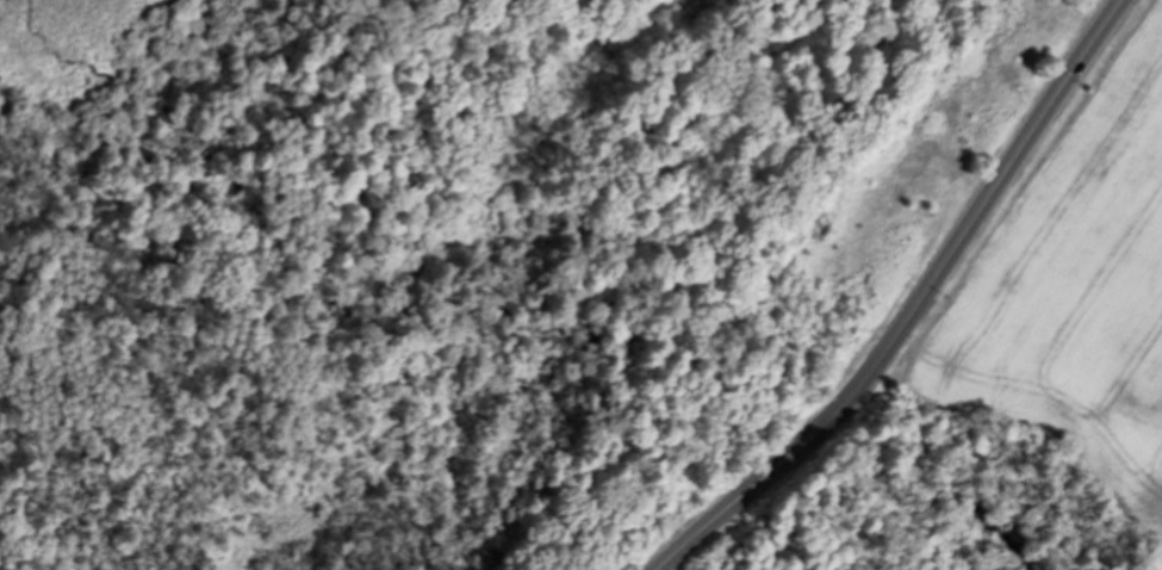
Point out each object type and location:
road: (669, 247)
crop: (1077, 290)
road: (914, 306)

